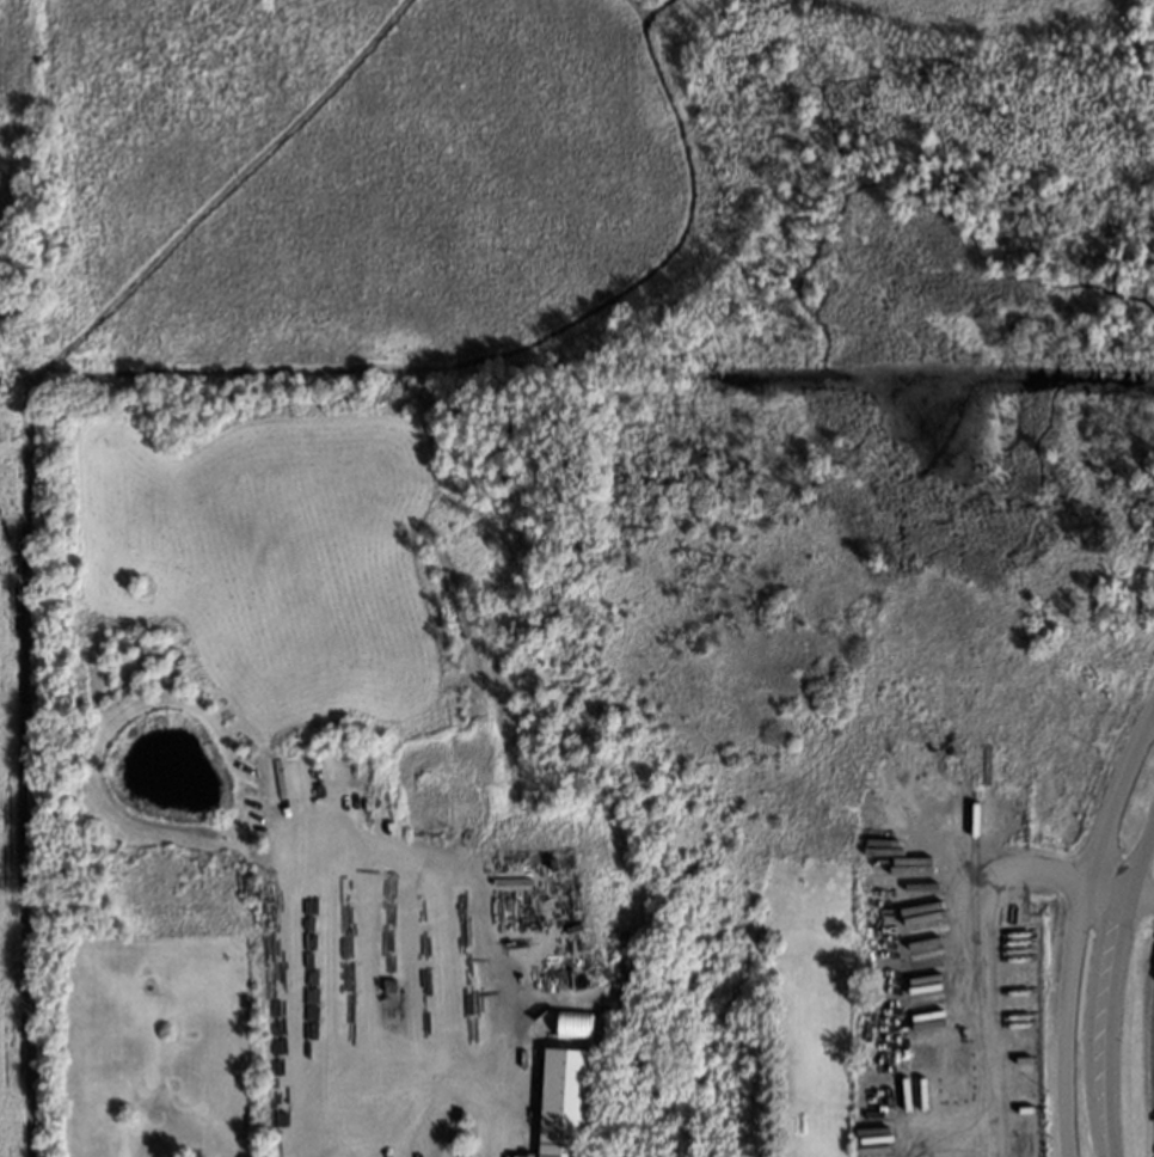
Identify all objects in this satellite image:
road: (1123, 896)
road: (1084, 932)
road: (978, 967)
road: (1116, 990)
building: (573, 1024)
road: (386, 1094)
building: (558, 1106)
building: (521, 1156)

